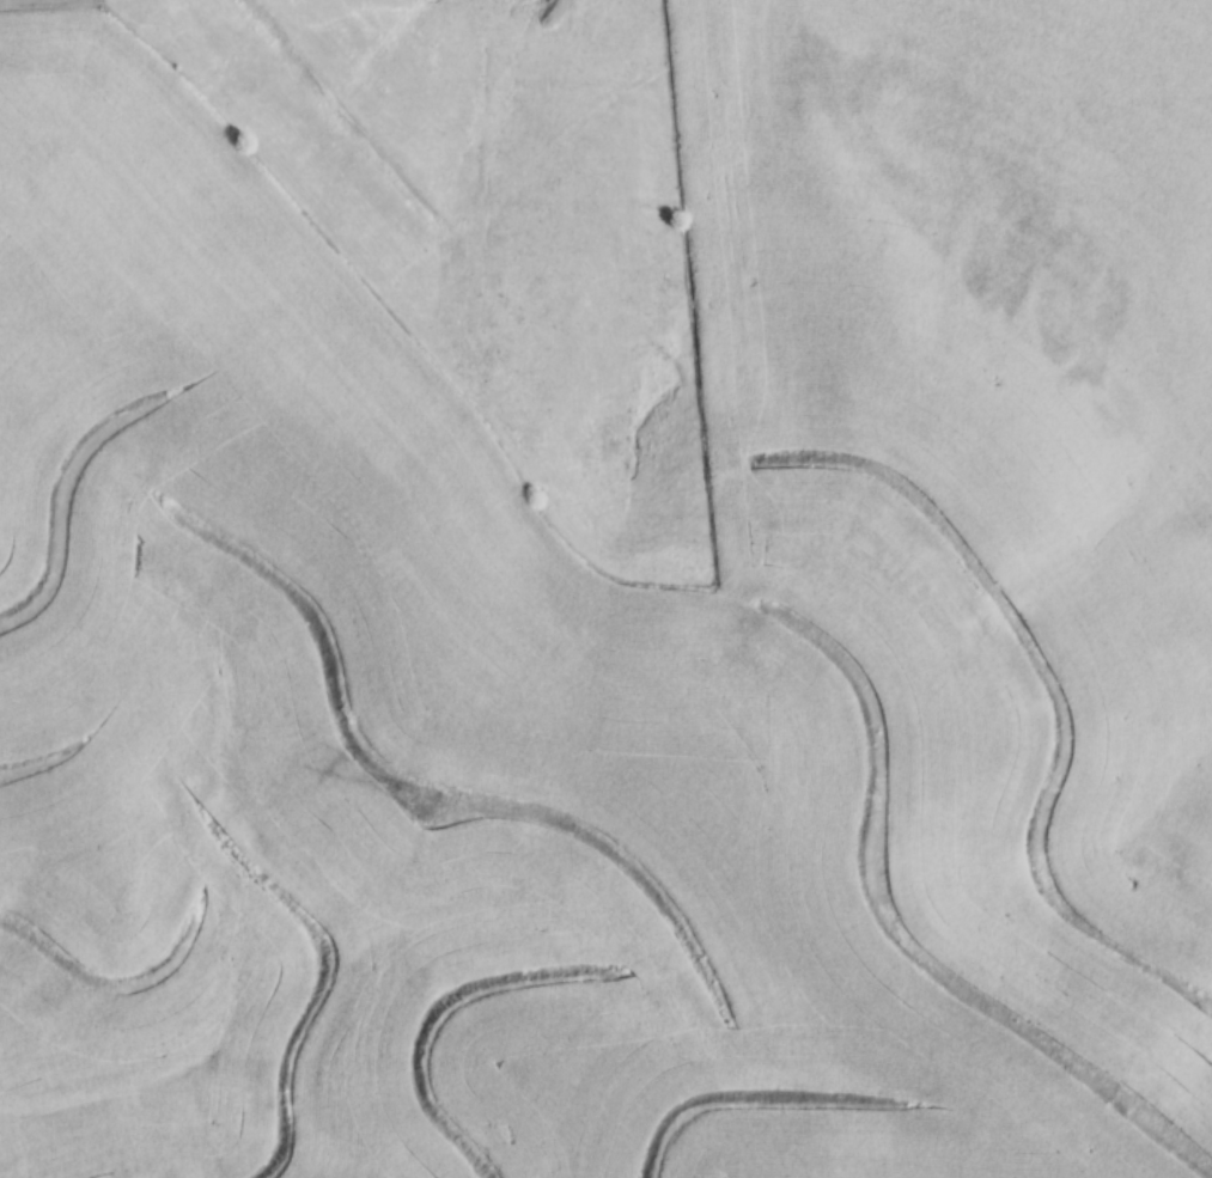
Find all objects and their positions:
power tower: (439, 810)

